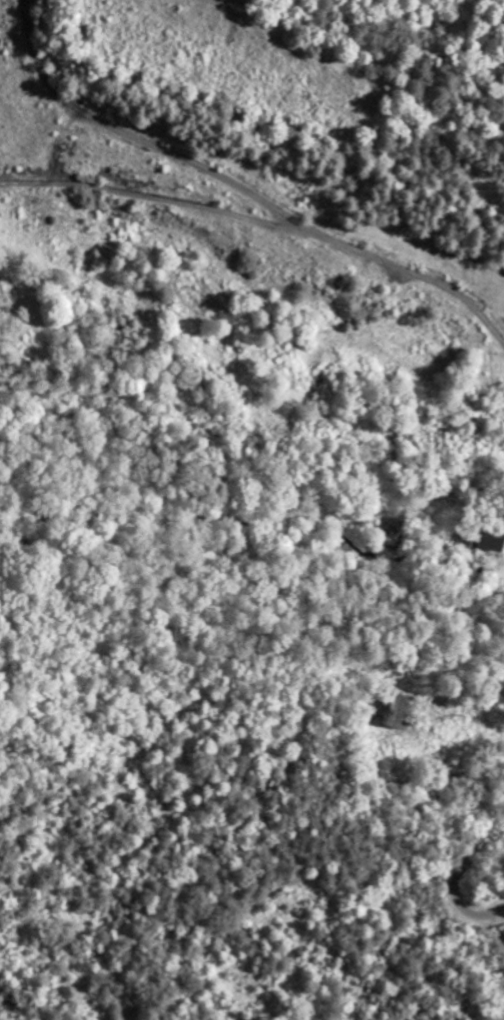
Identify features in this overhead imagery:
road: (456, 880)

